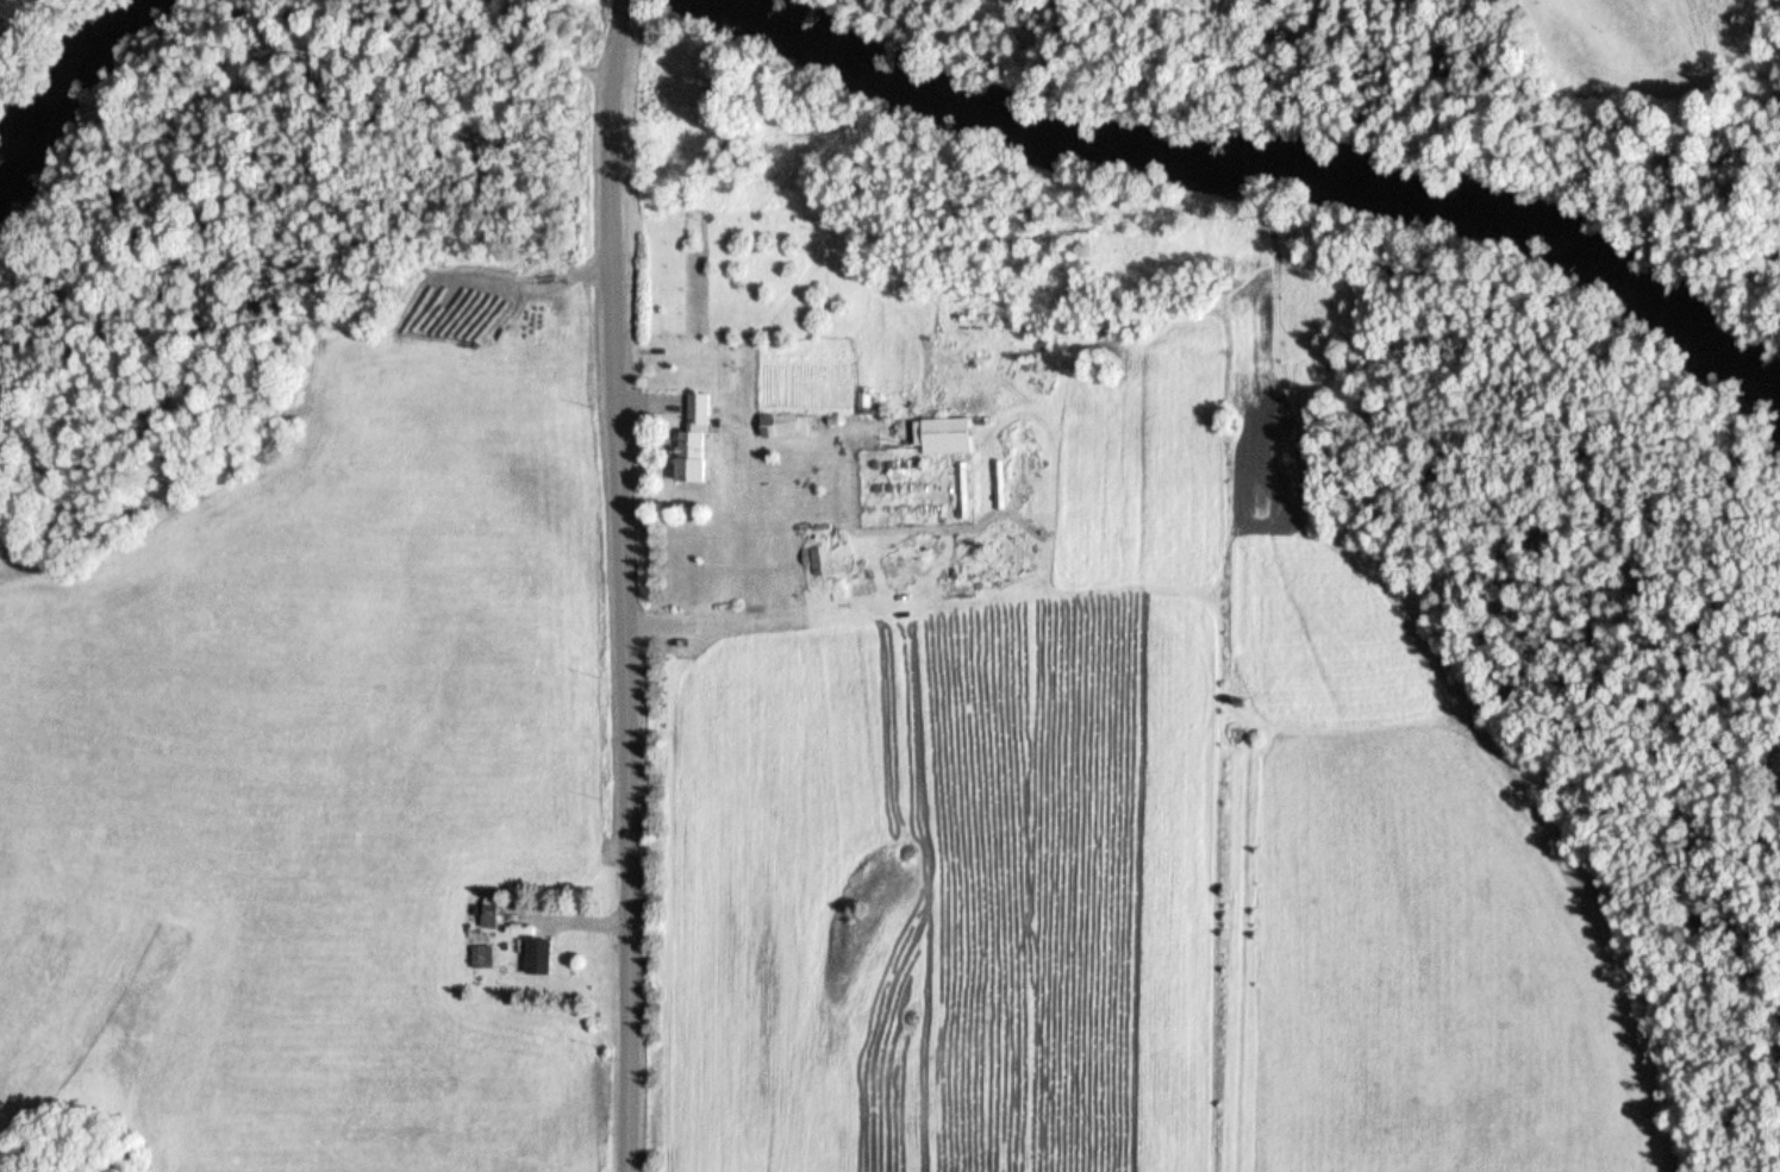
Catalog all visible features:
road: (620, 1)
river: (764, 12)
river: (67, 80)
river: (1314, 170)
building: (783, 427)
building: (945, 435)
building: (693, 443)
road: (619, 587)
building: (539, 958)

